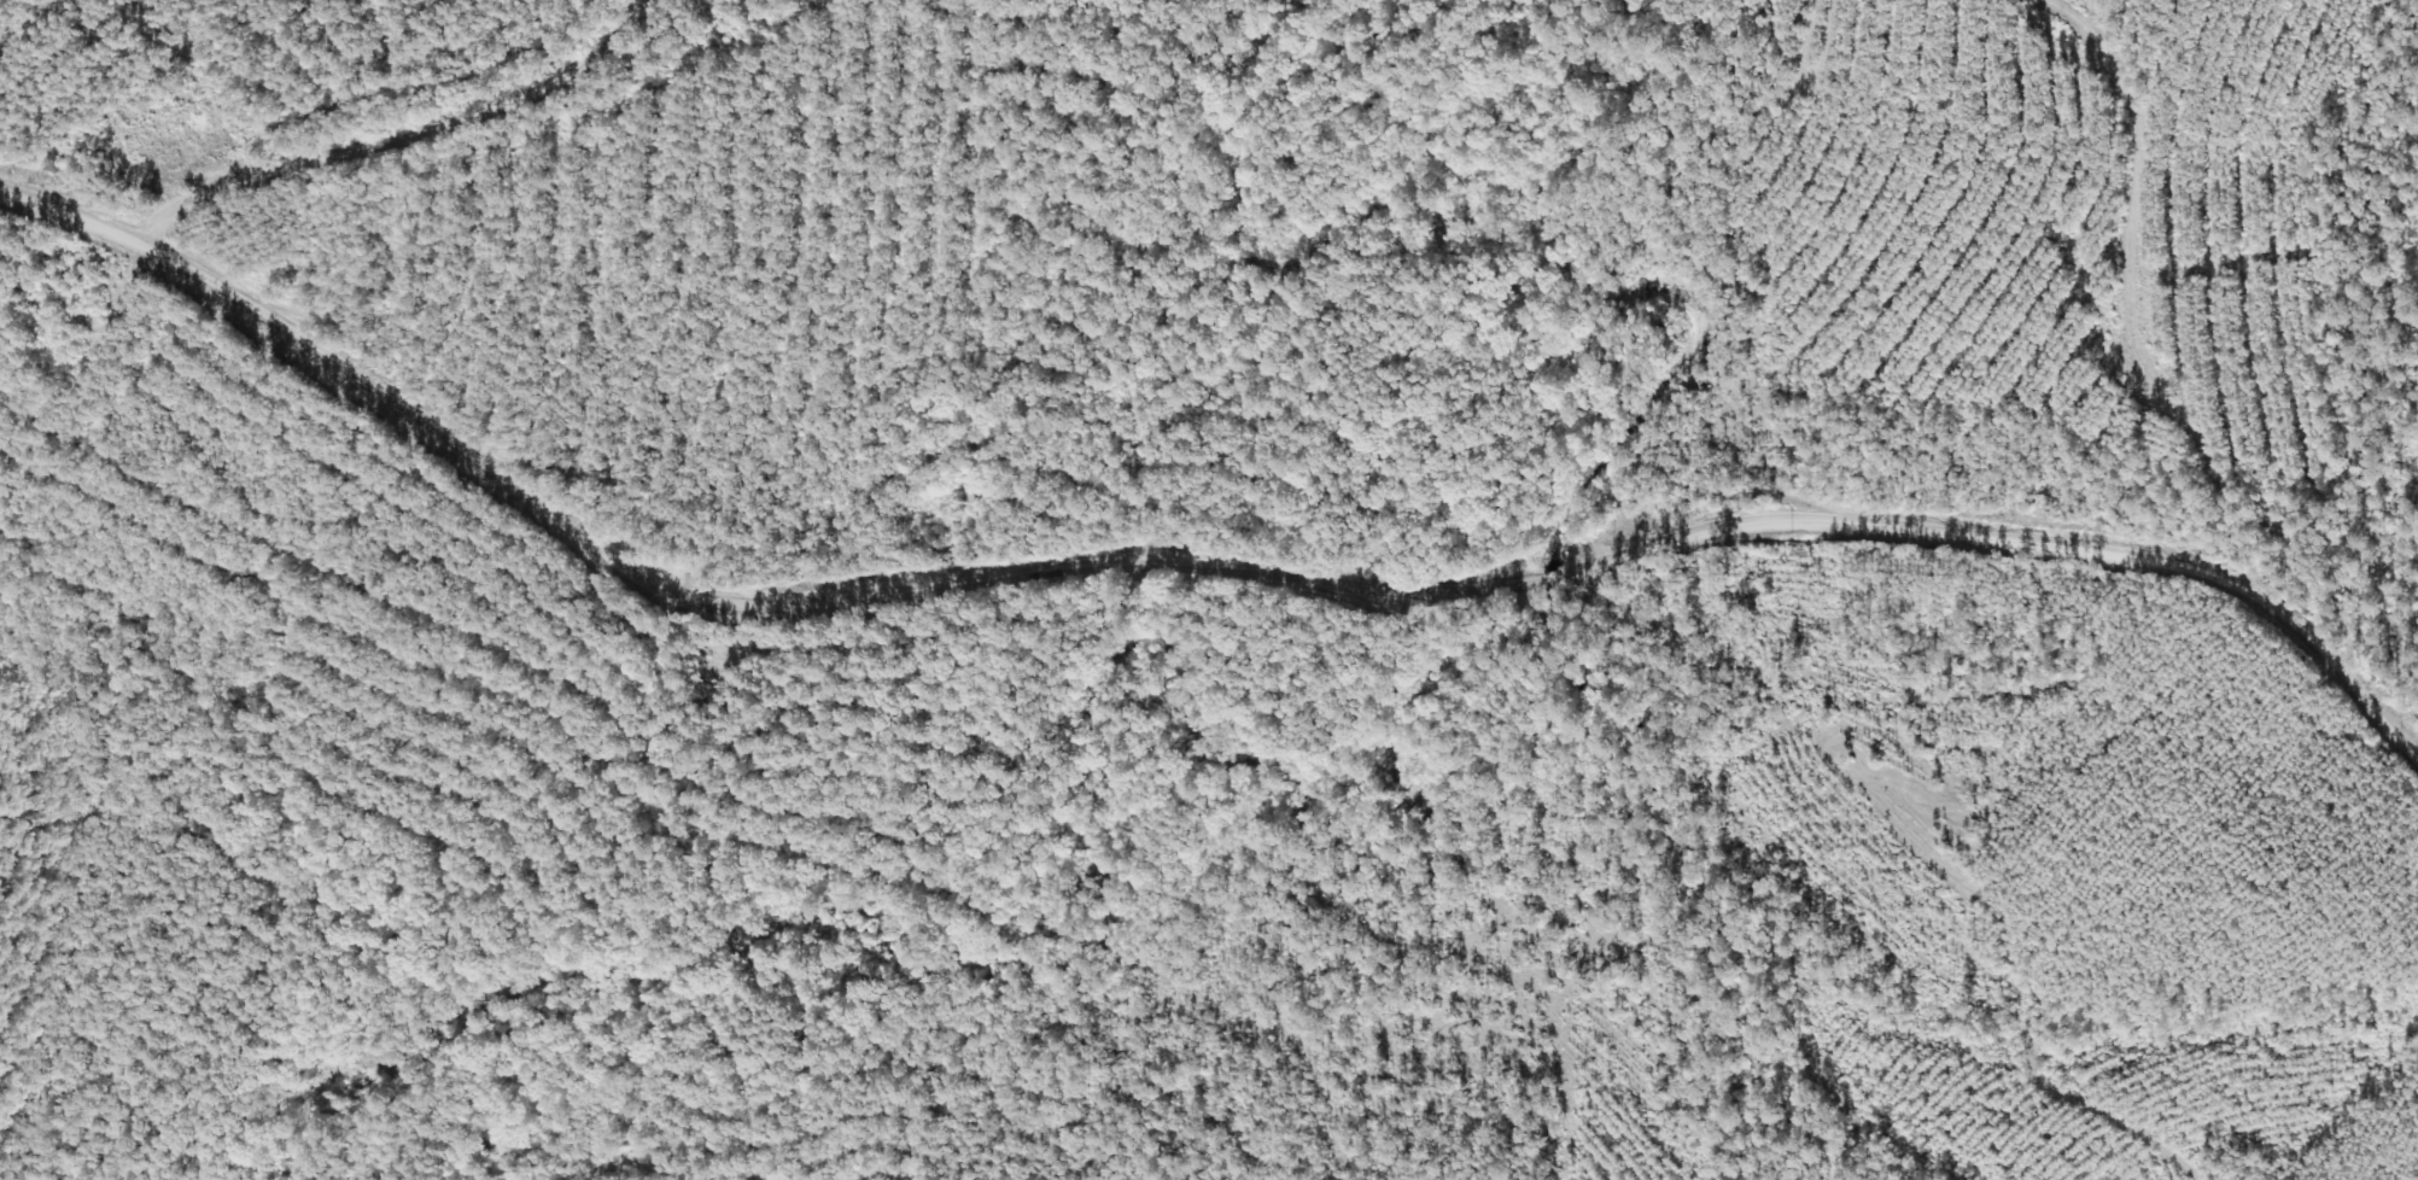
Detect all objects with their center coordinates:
road: (334, 107)
road: (1190, 556)

